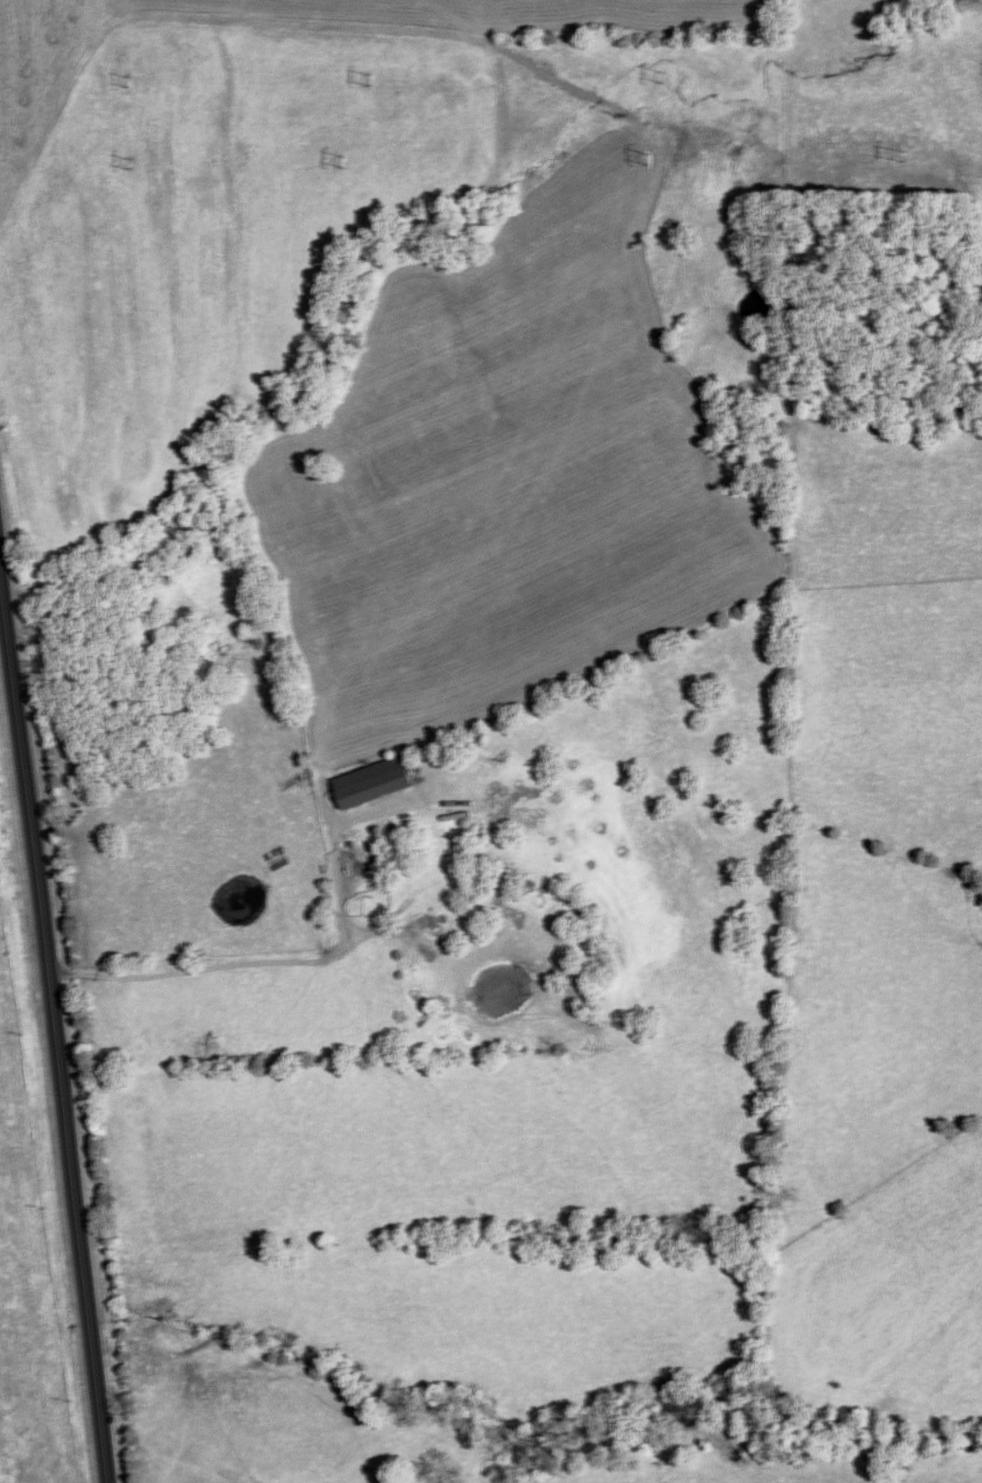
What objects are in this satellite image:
building: (375, 782)
building: (280, 864)
building: (427, 1017)
road: (55, 1031)

